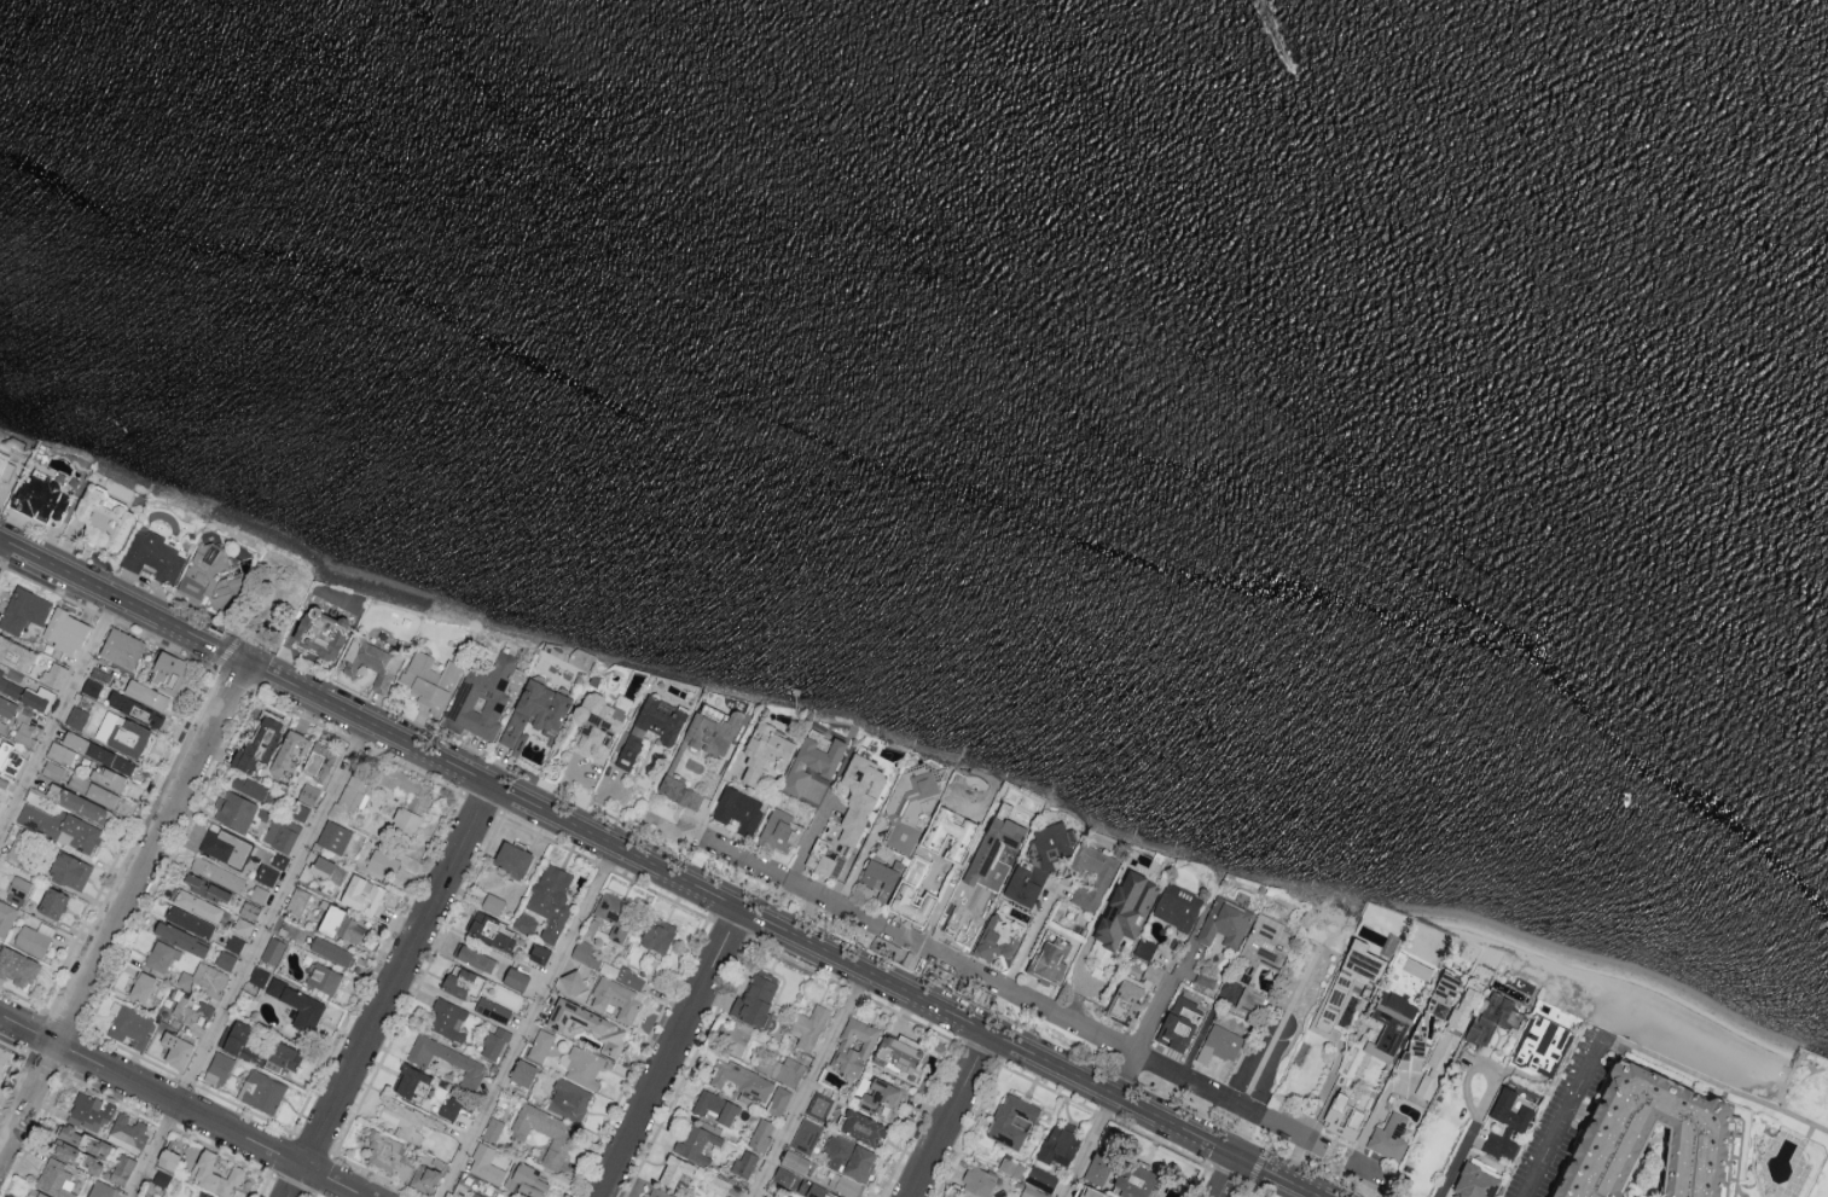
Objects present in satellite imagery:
building: (11, 476)
building: (42, 499)
building: (105, 521)
building: (152, 557)
building: (213, 575)
park: (269, 600)
building: (23, 610)
building: (65, 631)
building: (321, 633)
building: (122, 647)
building: (16, 653)
building: (370, 661)
building: (39, 666)
building: (168, 673)
building: (54, 674)
building: (430, 680)
building: (8, 686)
building: (91, 687)
building: (43, 693)
building: (146, 695)
building: (482, 697)
building: (33, 701)
building: (6, 707)
building: (535, 709)
building: (599, 709)
building: (135, 710)
road: (58, 715)
building: (76, 717)
building: (24, 726)
building: (651, 726)
building: (712, 731)
building: (0, 736)
building: (130, 738)
building: (591, 740)
building: (259, 743)
building: (290, 750)
building: (765, 750)
building: (60, 753)
building: (98, 753)
building: (10, 759)
building: (813, 759)
building: (318, 763)
building: (53, 769)
building: (109, 779)
building: (4, 781)
building: (249, 785)
building: (93, 790)
building: (416, 790)
building: (679, 790)
building: (859, 795)
building: (79, 803)
building: (302, 806)
building: (909, 806)
building: (236, 808)
building: (738, 809)
building: (405, 818)
building: (951, 825)
building: (60, 827)
building: (779, 830)
building: (1006, 831)
building: (280, 832)
building: (333, 835)
building: (226, 846)
building: (18, 852)
building: (512, 858)
building: (825, 858)
building: (279, 859)
building: (383, 861)
building: (1039, 861)
building: (323, 865)
road: (660, 867)
building: (70, 870)
building: (217, 872)
building: (266, 873)
building: (881, 877)
building: (1102, 877)
building: (208, 888)
building: (18, 889)
building: (259, 893)
building: (362, 894)
building: (551, 897)
building: (297, 900)
building: (52, 901)
building: (911, 901)
building: (493, 902)
building: (197, 903)
building: (1178, 906)
building: (1127, 907)
road: (122, 908)
building: (249, 908)
road: (268, 910)
building: (614, 913)
building: (6, 917)
building: (190, 919)
building: (526, 922)
building: (1225, 923)
building: (343, 924)
building: (242, 925)
building: (492, 930)
building: (657, 934)
building: (180, 936)
building: (31, 940)
road: (1029, 940)
building: (234, 942)
building: (1265, 945)
building: (1145, 948)
building: (273, 949)
building: (331, 949)
building: (540, 952)
building: (162, 954)
building: (476, 957)
building: (225, 958)
building: (1050, 959)
building: (605, 964)
building: (18, 965)
building: (1154, 971)
building: (259, 975)
building: (325, 977)
building: (516, 977)
building: (204, 978)
building: (573, 981)
road: (987, 982)
building: (1348, 983)
building: (141, 986)
road: (389, 990)
building: (475, 990)
building: (1441, 994)
building: (616, 998)
building: (755, 998)
building: (1249, 1000)
building: (1126, 1003)
building: (298, 1004)
building: (190, 1009)
road: (1159, 1010)
building: (1492, 1015)
building: (448, 1018)
building: (1393, 1018)
road: (528, 1021)
park: (1284, 1022)
building: (129, 1023)
building: (1179, 1023)
building: (587, 1024)
building: (808, 1025)
building: (1453, 1028)
road: (1203, 1029)
building: (236, 1035)
building: (732, 1038)
building: (494, 1041)
building: (540, 1044)
building: (1220, 1044)
building: (854, 1046)
building: (176, 1047)
building: (1379, 1051)
road: (666, 1052)
building: (899, 1054)
building: (274, 1056)
building: (446, 1057)
building: (1404, 1058)
park: (1718, 1058)
building: (5, 1061)
building: (582, 1065)
building: (219, 1068)
road: (1475, 1069)
building: (789, 1070)
building: (523, 1071)
road: (1125, 1075)
building: (742, 1080)
building: (412, 1082)
road: (809, 1082)
building: (1426, 1086)
road: (1718, 1087)
building: (262, 1091)
building: (881, 1097)
building: (569, 1099)
building: (779, 1099)
building: (452, 1103)
building: (1528, 1103)
road: (182, 1104)
building: (819, 1104)
building: (716, 1105)
building: (89, 1111)
road: (1563, 1114)
road: (950, 1115)
building: (1344, 1116)
building: (402, 1118)
building: (1012, 1120)
building: (1508, 1122)
road: (1369, 1123)
building: (864, 1127)
building: (492, 1128)
building: (127, 1131)
building: (545, 1132)
building: (761, 1133)
building: (806, 1134)
building: (1389, 1135)
building: (83, 1139)
building: (1653, 1140)
building: (697, 1143)
building: (1060, 1144)
road: (1089, 1145)
road: (151, 1149)
building: (384, 1149)
building: (77, 1156)
road: (1456, 1156)
building: (167, 1157)
building: (849, 1157)
building: (795, 1161)
building: (744, 1162)
building: (486, 1164)
building: (1099, 1167)
building: (122, 1168)
building: (675, 1169)
building: (216, 1173)
building: (784, 1175)
road: (1226, 1175)
building: (425, 1176)
building: (56, 1178)
building: (1041, 1178)
building: (526, 1180)
building: (979, 1180)
building: (1134, 1180)
building: (1475, 1181)
building: (718, 1184)
building: (848, 1185)
building: (100, 1189)
building: (661, 1192)
building: (1033, 1192)
building: (1091, 1192)
building: (36, 1193)
building: (828, 1193)
building: (208, 1195)
building: (477, 1195)
building: (957, 1196)

